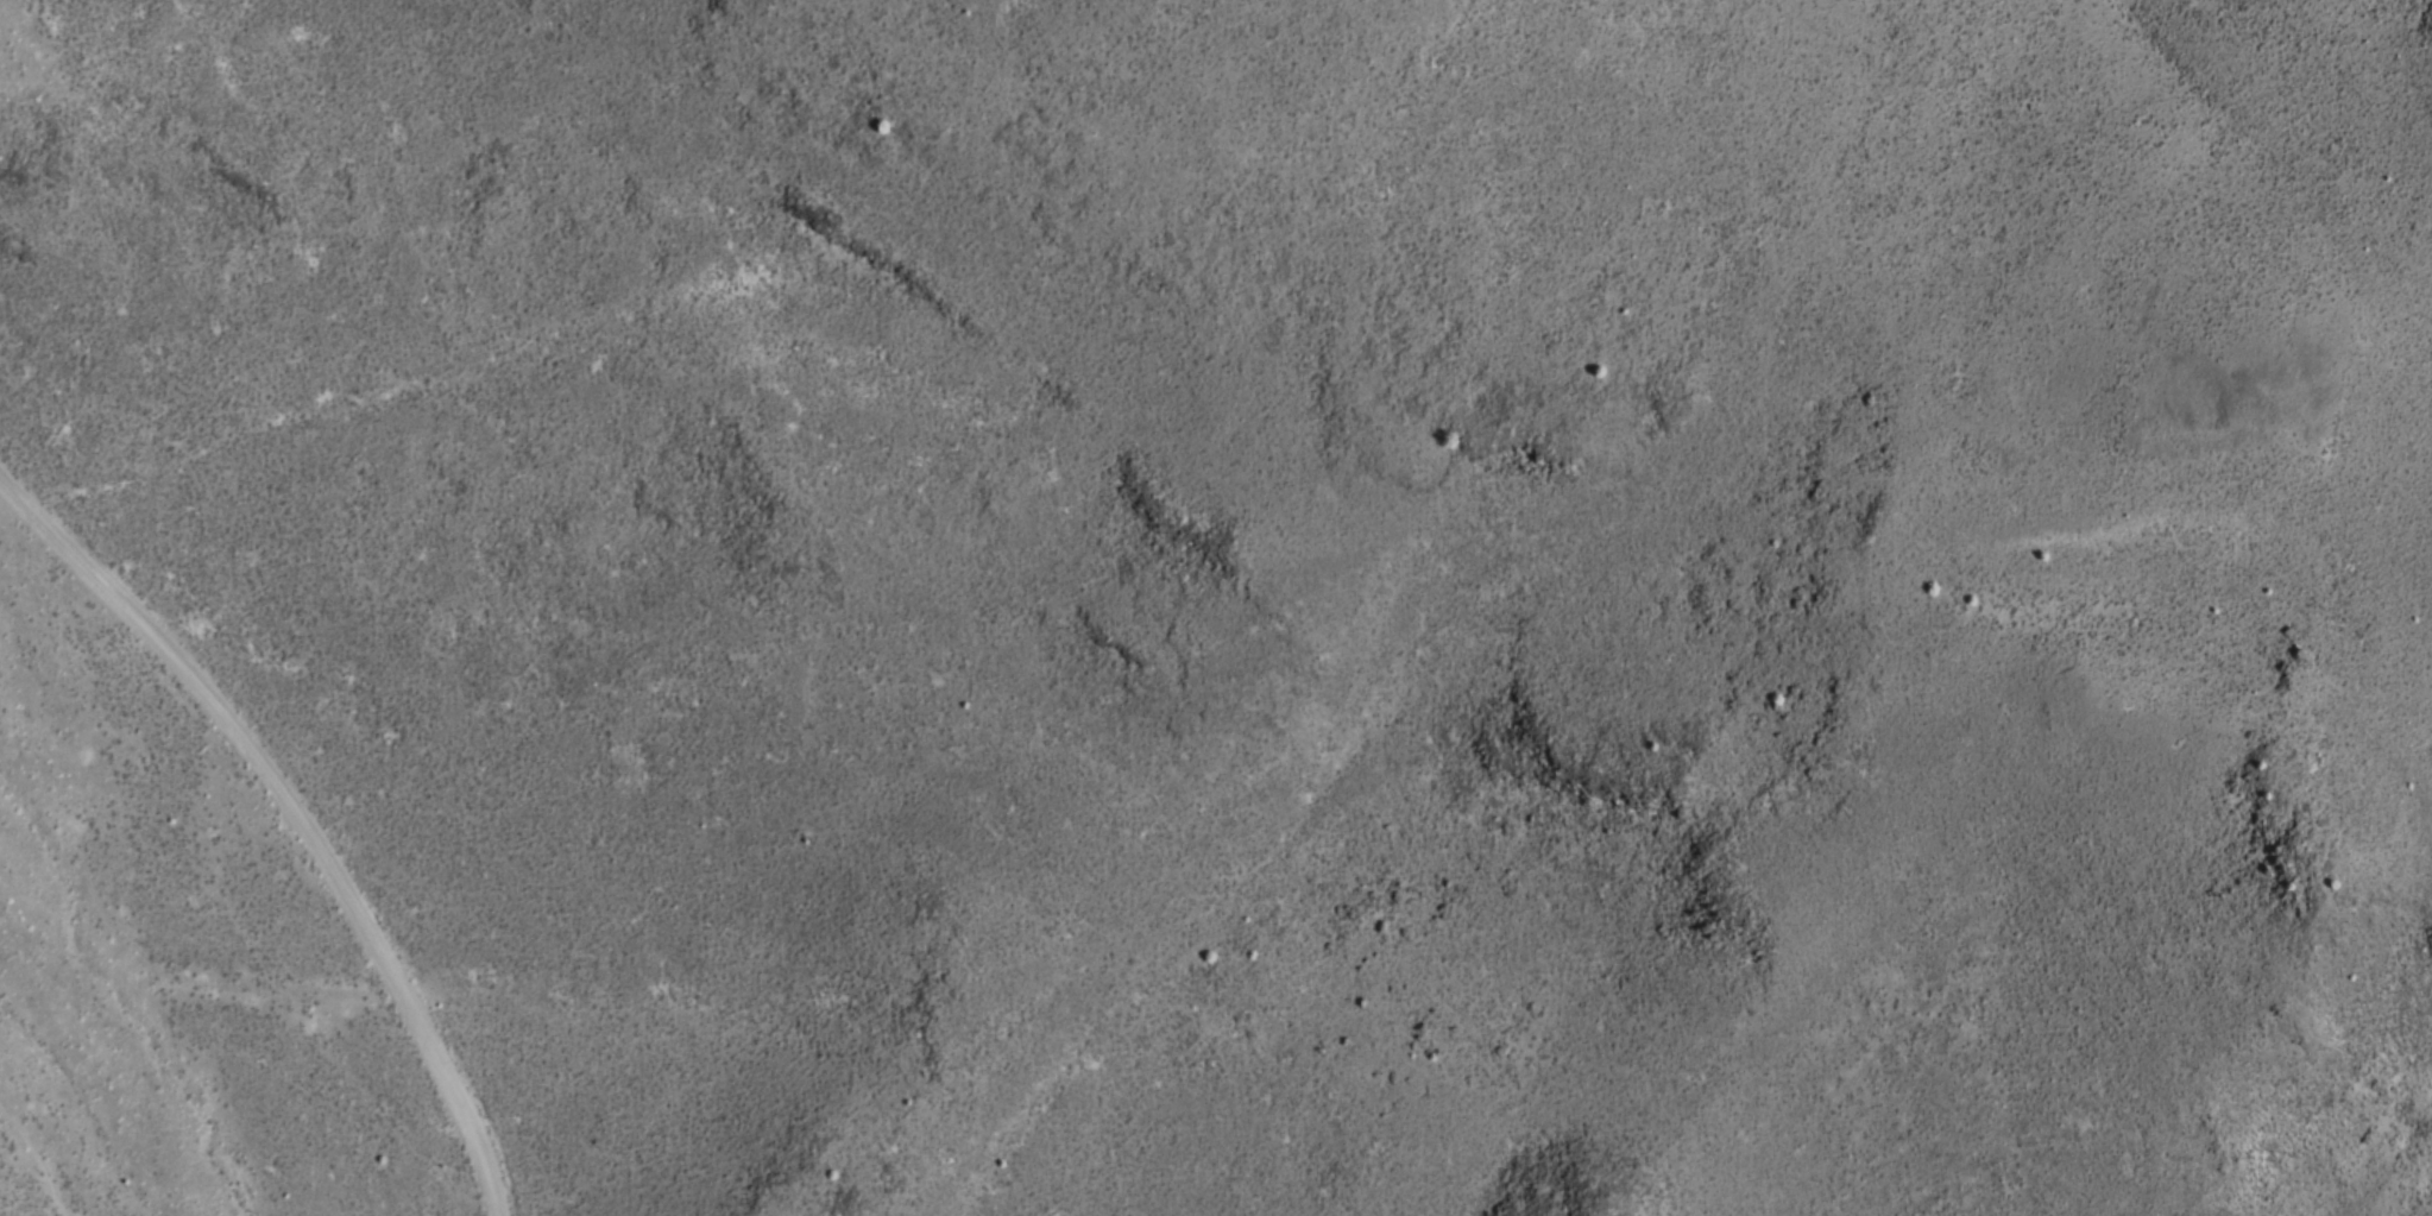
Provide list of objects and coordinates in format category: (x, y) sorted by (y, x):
road: (302, 813)

